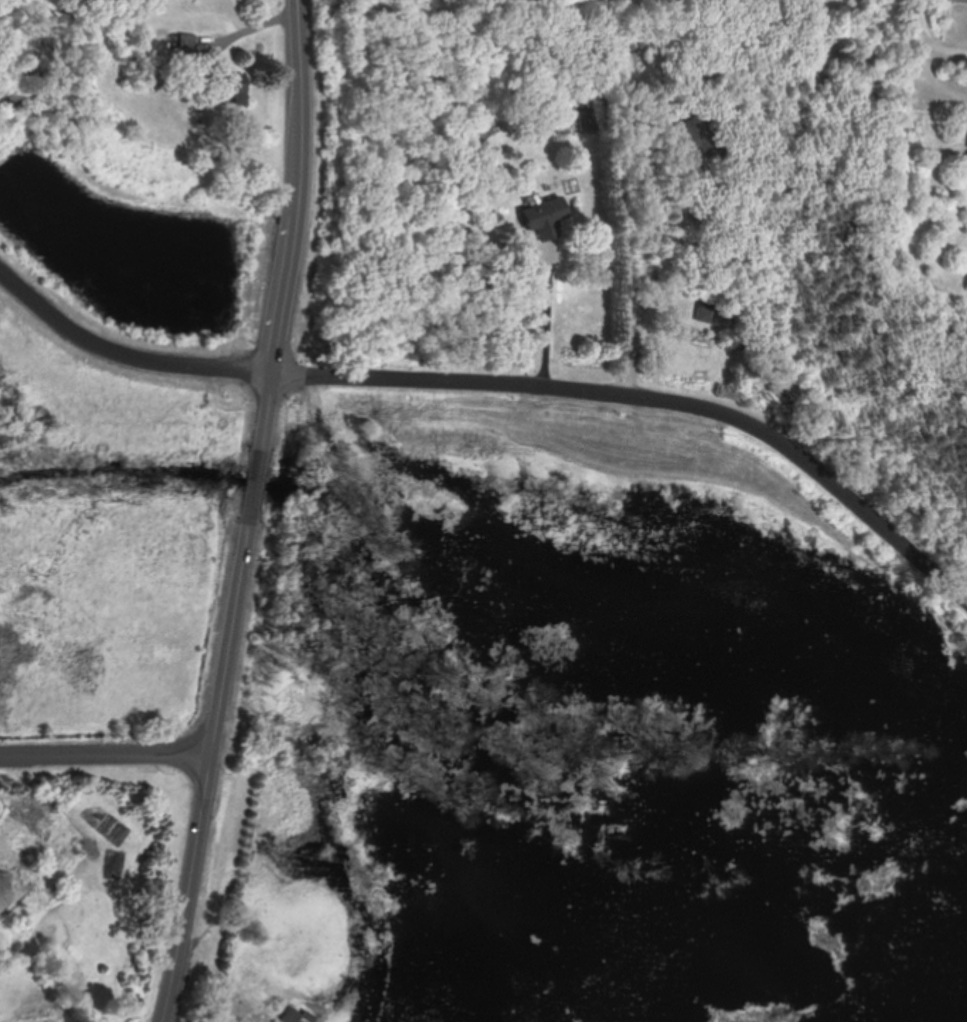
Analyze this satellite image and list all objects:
road: (237, 15)
road: (236, 37)
building: (187, 43)
road: (925, 59)
building: (231, 84)
building: (705, 159)
building: (539, 217)
road: (643, 229)
building: (705, 310)
road: (546, 322)
road: (124, 363)
road: (652, 394)
road: (251, 512)
road: (106, 752)
building: (300, 1016)

